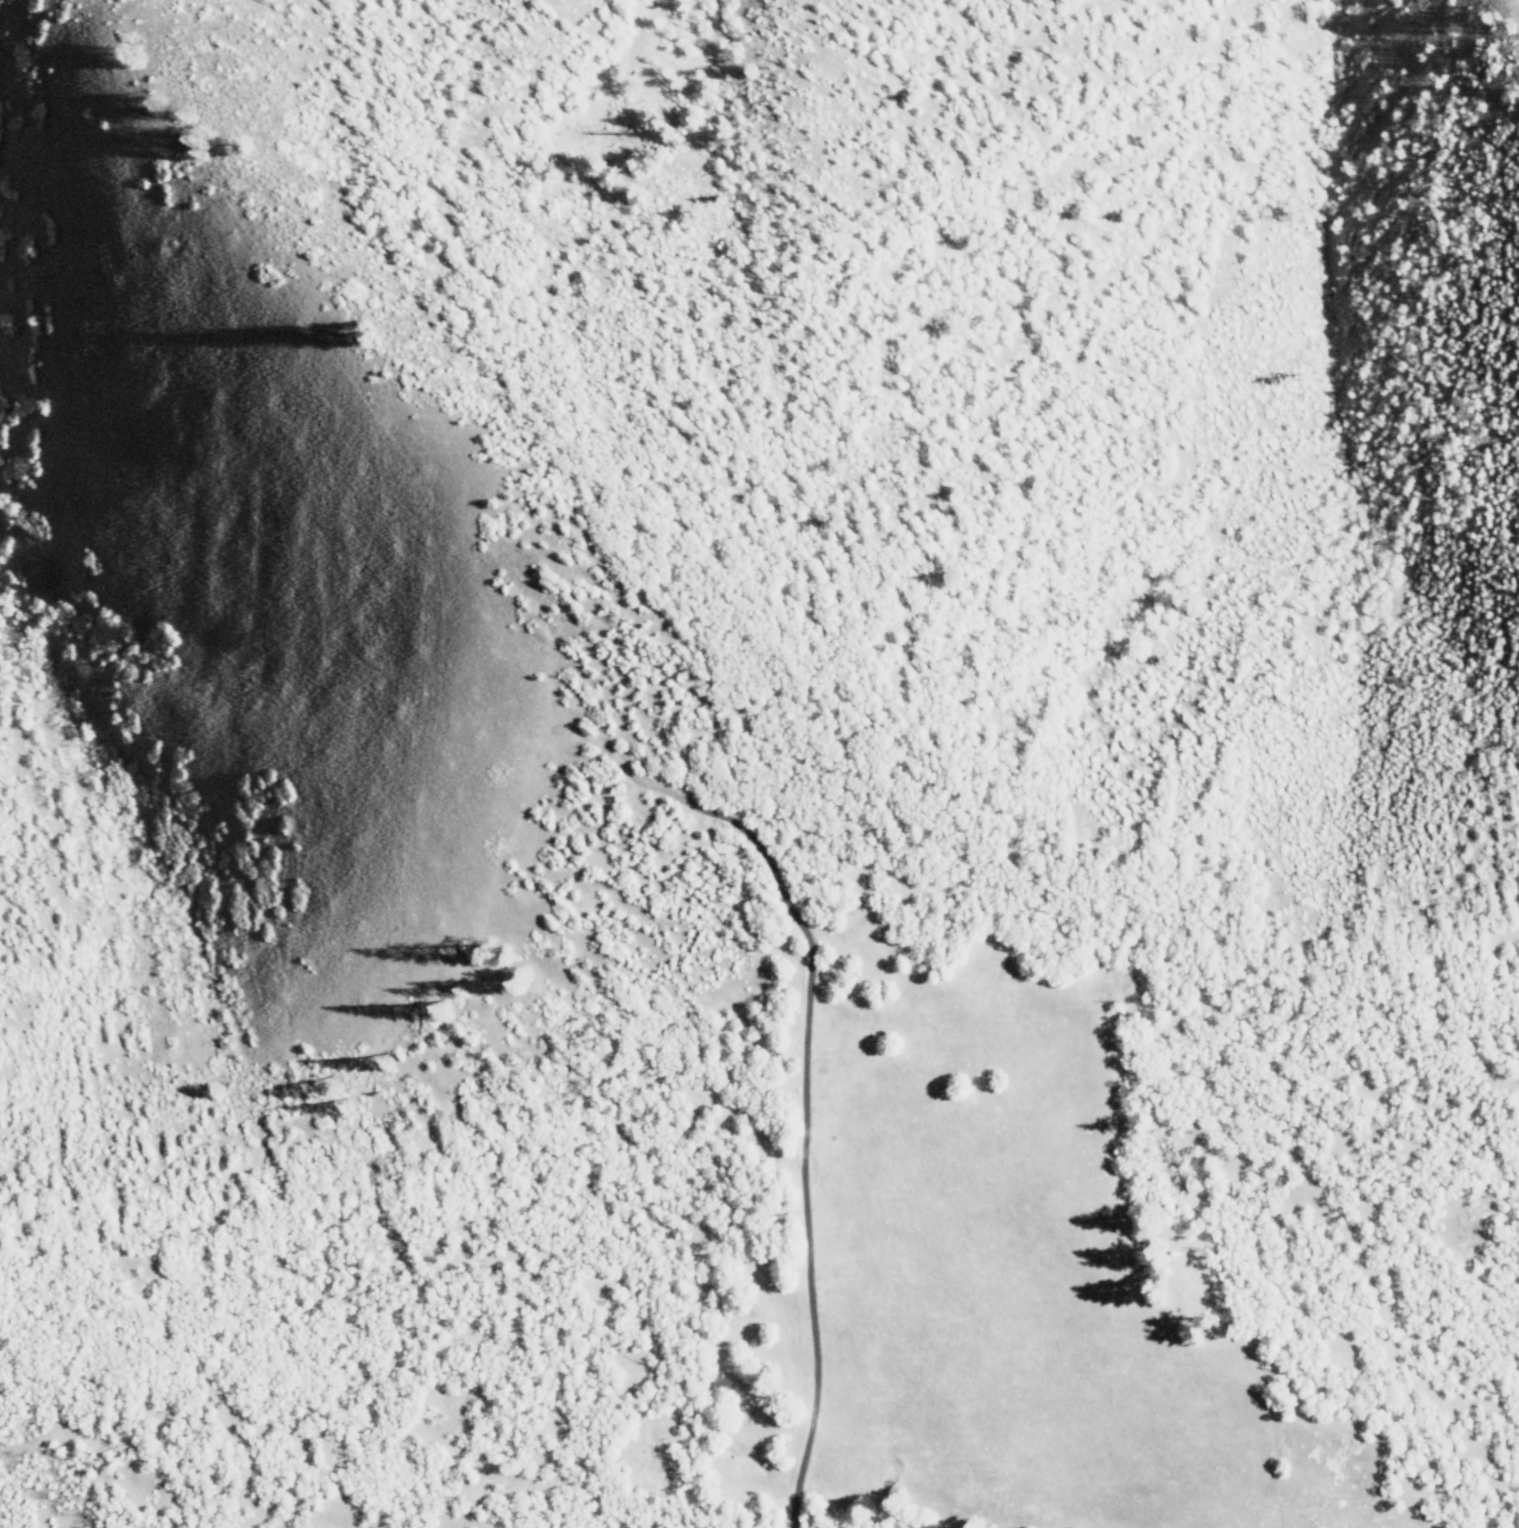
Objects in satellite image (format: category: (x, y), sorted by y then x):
road: (801, 1069)

